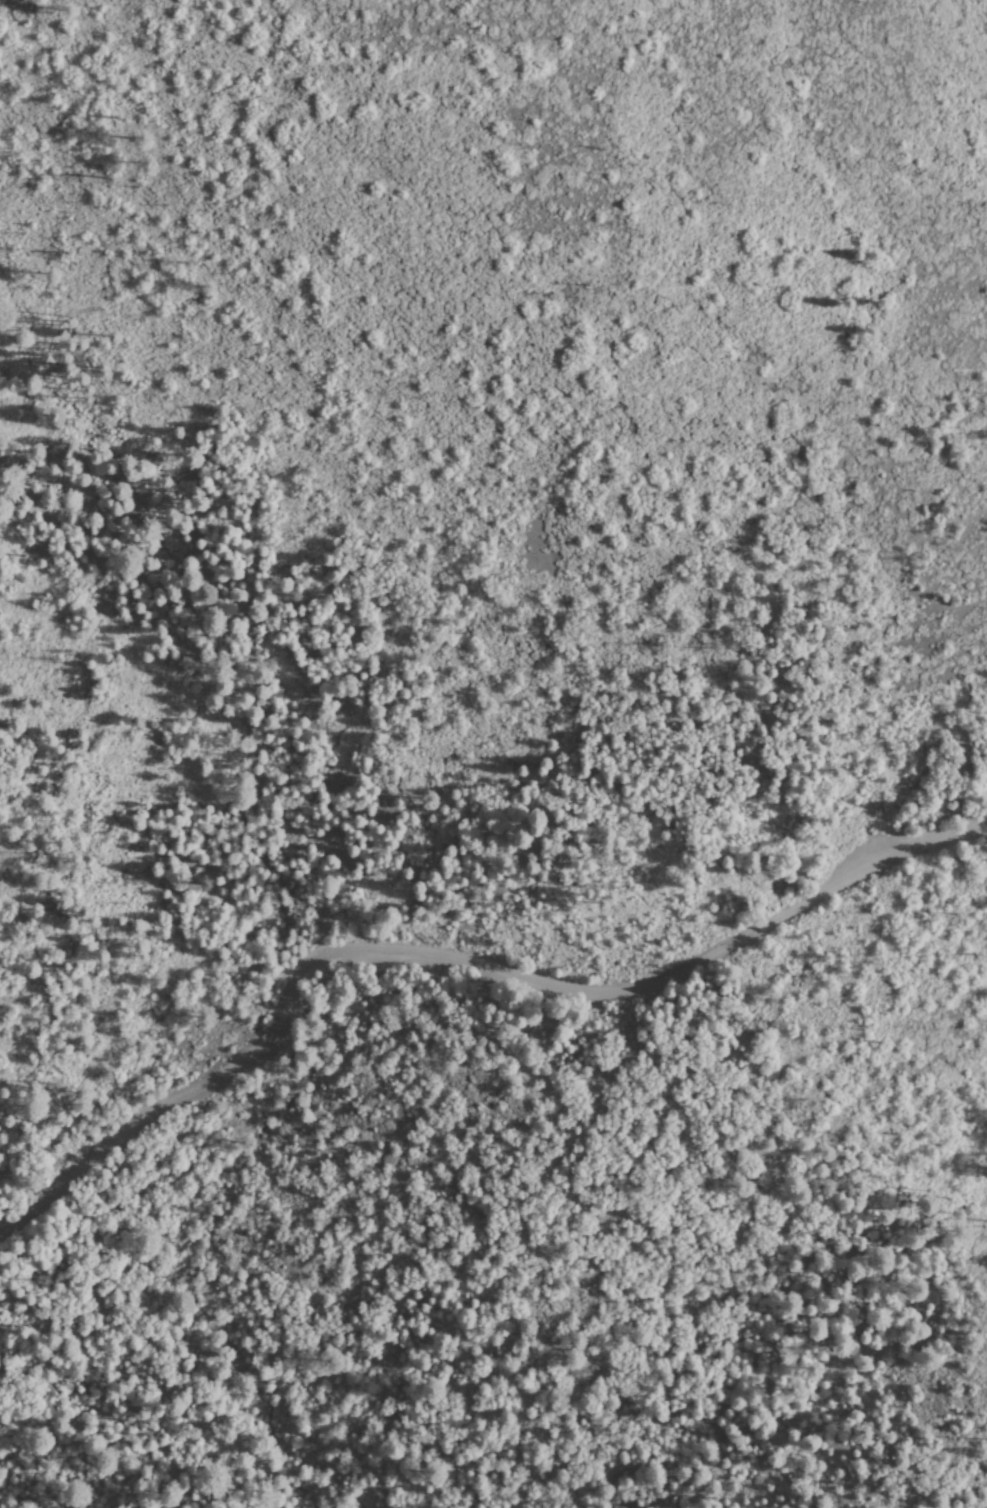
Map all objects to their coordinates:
road: (455, 957)

